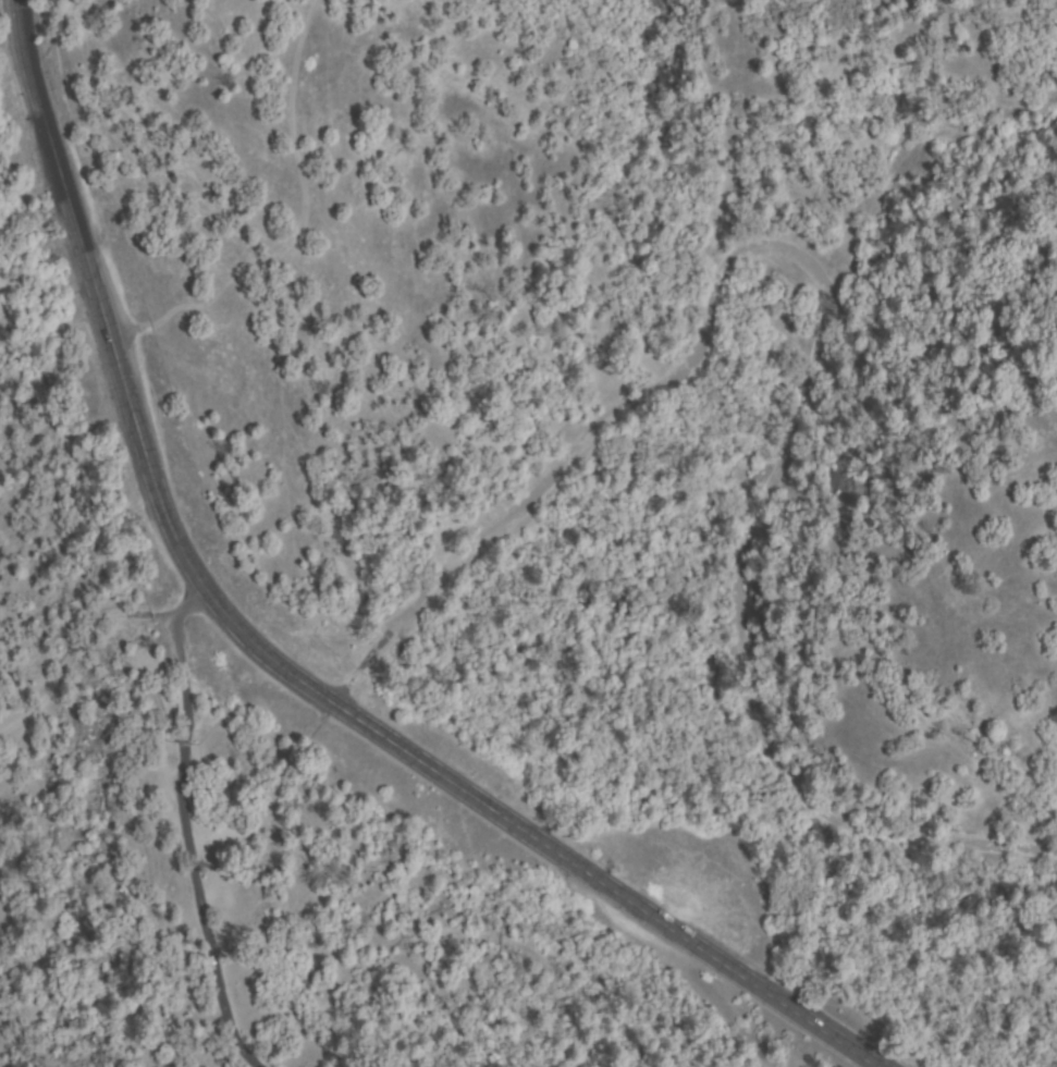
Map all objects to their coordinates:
road: (273, 662)
road: (185, 827)

